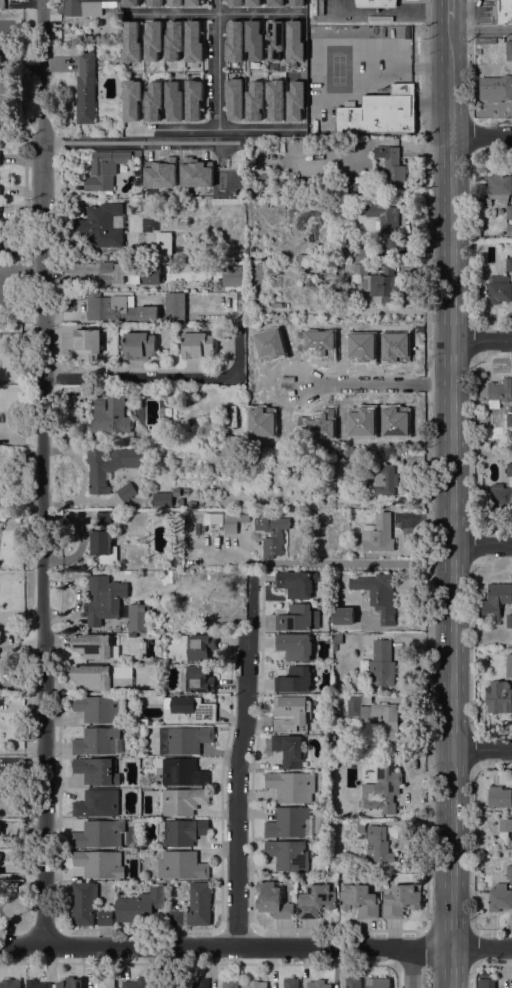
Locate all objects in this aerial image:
building: (129, 2)
building: (153, 2)
building: (174, 2)
building: (234, 2)
building: (251, 2)
building: (275, 2)
building: (296, 2)
building: (191, 3)
building: (376, 3)
building: (2, 4)
building: (86, 7)
road: (401, 7)
road: (449, 9)
road: (213, 12)
building: (503, 12)
road: (391, 15)
road: (480, 30)
building: (152, 39)
building: (253, 39)
building: (172, 40)
building: (274, 40)
building: (130, 41)
building: (192, 41)
building: (233, 41)
building: (293, 41)
building: (485, 41)
building: (508, 50)
building: (477, 52)
road: (469, 59)
road: (400, 60)
road: (217, 64)
building: (479, 71)
road: (1, 77)
building: (500, 86)
building: (85, 89)
building: (233, 97)
building: (274, 98)
building: (131, 99)
building: (192, 99)
building: (152, 100)
building: (172, 100)
building: (253, 100)
building: (294, 100)
road: (433, 105)
building: (382, 114)
road: (1, 119)
road: (22, 120)
road: (214, 128)
road: (481, 136)
road: (130, 141)
building: (392, 167)
building: (104, 170)
building: (196, 173)
building: (159, 174)
building: (499, 187)
building: (146, 205)
building: (508, 211)
building: (384, 224)
building: (101, 226)
building: (509, 230)
road: (471, 235)
building: (163, 245)
building: (364, 251)
building: (237, 255)
building: (508, 264)
building: (129, 273)
building: (191, 273)
building: (232, 276)
road: (427, 281)
building: (379, 282)
building: (498, 289)
building: (240, 295)
building: (174, 307)
building: (117, 308)
building: (321, 326)
building: (343, 333)
road: (481, 340)
building: (87, 344)
building: (197, 344)
building: (139, 346)
building: (379, 352)
road: (163, 376)
building: (511, 376)
road: (374, 383)
building: (499, 392)
building: (109, 411)
building: (509, 419)
building: (214, 420)
road: (470, 441)
building: (277, 450)
building: (344, 455)
building: (110, 465)
building: (509, 469)
road: (43, 472)
building: (381, 479)
building: (126, 491)
building: (176, 491)
building: (498, 495)
building: (162, 499)
building: (181, 501)
road: (451, 502)
building: (191, 503)
building: (216, 518)
building: (233, 521)
building: (271, 533)
building: (378, 533)
building: (103, 539)
road: (481, 544)
road: (359, 564)
building: (162, 567)
building: (296, 584)
building: (378, 594)
building: (103, 599)
building: (495, 601)
building: (344, 616)
building: (138, 617)
building: (296, 618)
building: (509, 621)
building: (92, 645)
building: (196, 646)
building: (294, 646)
building: (334, 647)
road: (470, 647)
building: (382, 650)
building: (509, 663)
building: (381, 673)
building: (103, 676)
building: (195, 679)
building: (294, 680)
building: (499, 697)
building: (99, 708)
building: (188, 709)
building: (291, 713)
building: (376, 720)
building: (184, 739)
building: (98, 742)
road: (481, 748)
building: (288, 750)
road: (240, 760)
road: (426, 760)
building: (97, 771)
building: (183, 772)
building: (366, 772)
building: (292, 786)
building: (381, 791)
building: (499, 797)
building: (183, 801)
building: (97, 803)
building: (287, 822)
building: (505, 824)
building: (360, 826)
building: (183, 832)
building: (99, 834)
building: (379, 843)
road: (470, 848)
building: (287, 854)
building: (99, 863)
building: (181, 865)
building: (0, 868)
building: (509, 871)
building: (499, 897)
building: (272, 899)
building: (316, 900)
building: (359, 900)
building: (400, 900)
building: (83, 902)
building: (140, 905)
building: (194, 906)
building: (104, 918)
road: (256, 946)
road: (397, 946)
road: (412, 967)
road: (473, 974)
road: (396, 975)
building: (106, 982)
building: (352, 982)
building: (377, 982)
building: (10, 983)
building: (69, 983)
building: (135, 983)
building: (197, 983)
building: (229, 983)
building: (291, 983)
building: (487, 983)
building: (36, 984)
building: (160, 984)
building: (255, 984)
building: (317, 984)

